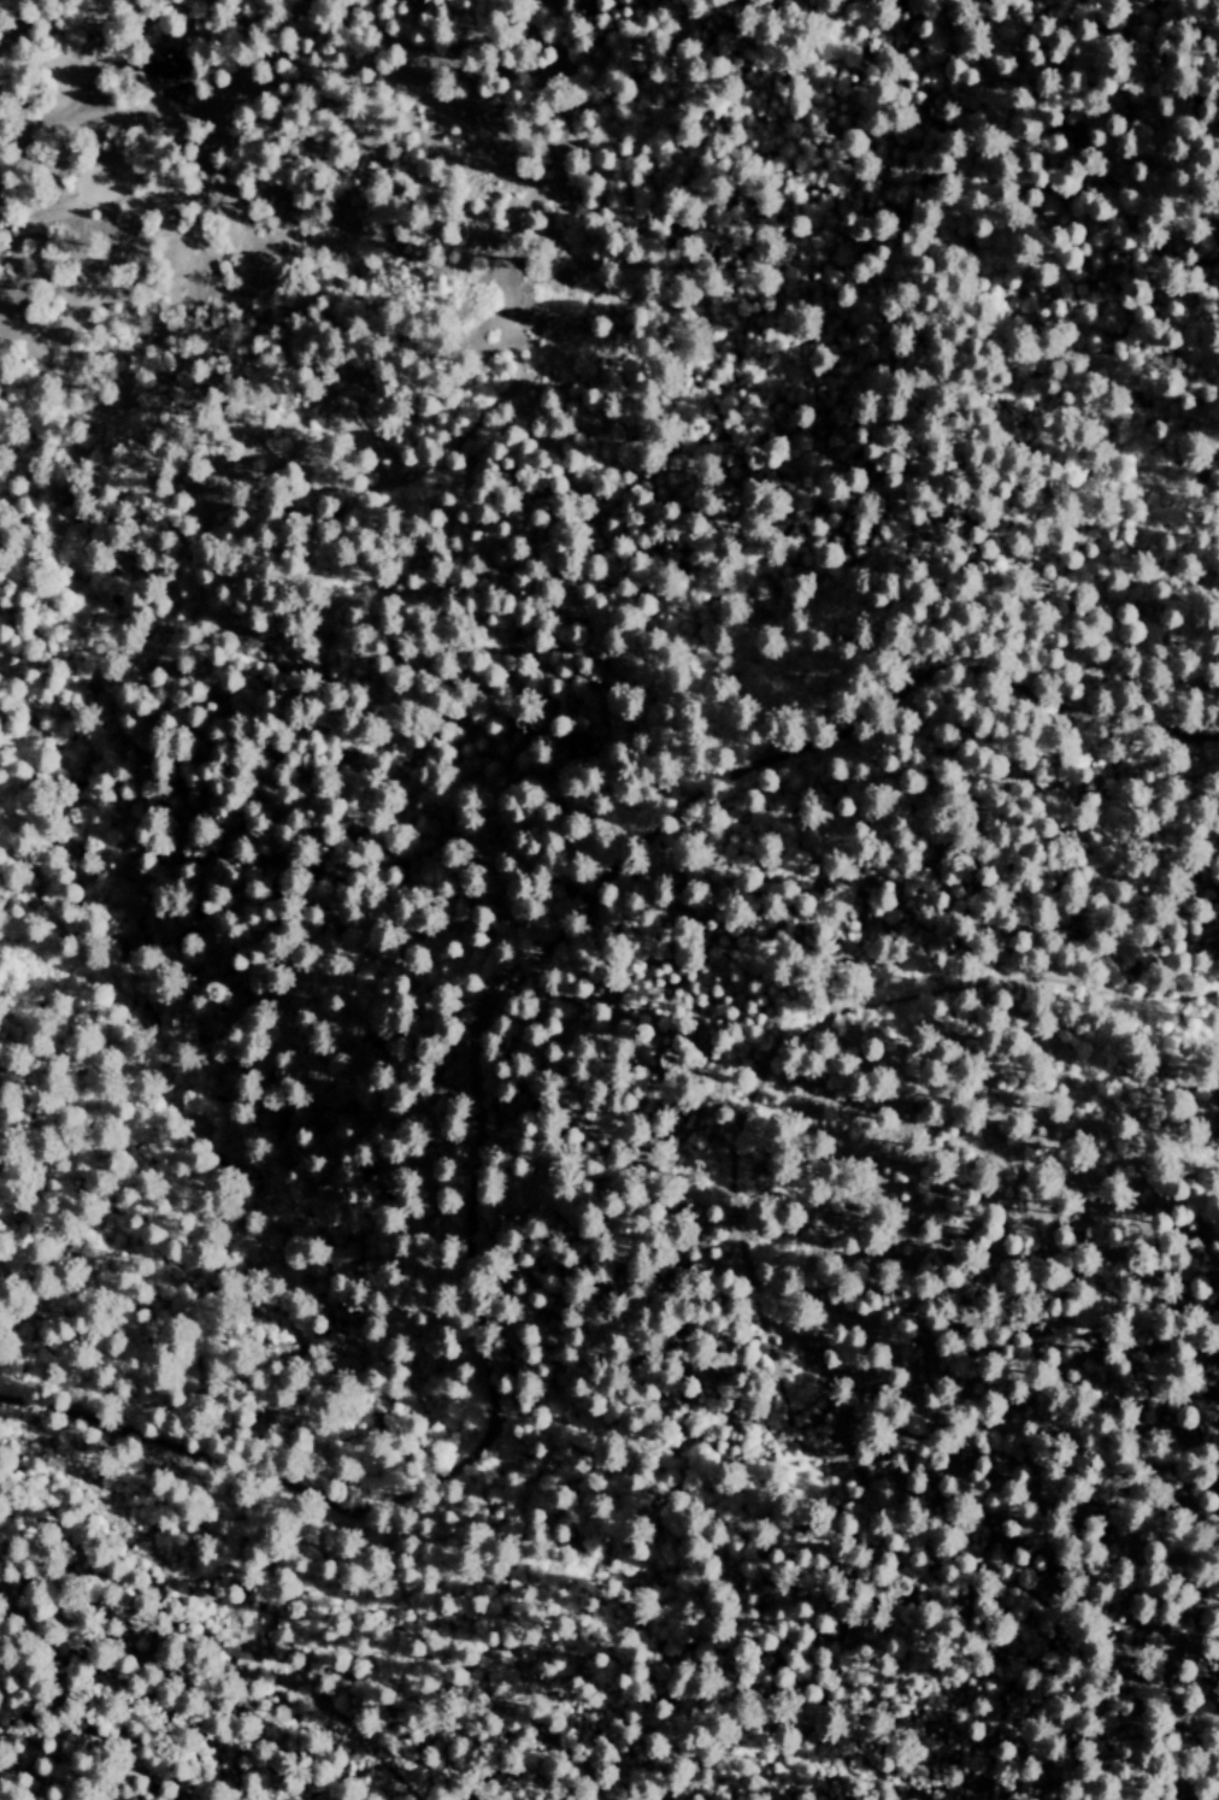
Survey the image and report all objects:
road: (55, 116)
road: (794, 1040)
road: (479, 1046)
road: (828, 1665)
road: (200, 1758)
road: (57, 1759)
road: (251, 1795)

